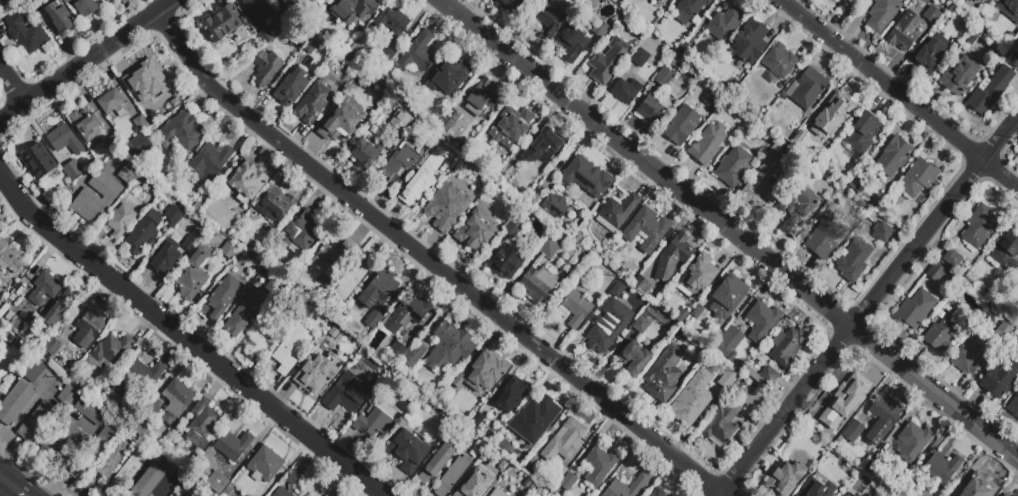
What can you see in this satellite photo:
building: (106, 0)
building: (844, 0)
building: (660, 1)
building: (846, 1)
building: (967, 1)
building: (980, 1)
building: (335, 2)
building: (618, 2)
building: (31, 3)
building: (289, 3)
building: (21, 5)
building: (84, 6)
building: (513, 6)
building: (593, 6)
building: (327, 8)
building: (260, 9)
building: (689, 9)
building: (952, 9)
building: (1009, 9)
building: (354, 10)
building: (882, 14)
building: (977, 18)
building: (58, 19)
building: (550, 20)
building: (392, 21)
building: (222, 23)
building: (724, 23)
building: (948, 26)
building: (911, 27)
building: (601, 29)
building: (26, 33)
building: (307, 35)
building: (974, 35)
building: (267, 37)
building: (325, 40)
building: (299, 41)
building: (573, 41)
building: (751, 41)
building: (346, 45)
building: (311, 46)
building: (686, 52)
building: (931, 54)
building: (418, 55)
building: (387, 56)
building: (640, 58)
building: (1014, 60)
road: (87, 61)
building: (608, 61)
building: (778, 63)
building: (306, 66)
building: (266, 68)
building: (134, 71)
building: (740, 71)
building: (354, 72)
building: (959, 75)
building: (448, 77)
building: (664, 77)
road: (12, 86)
building: (291, 88)
building: (806, 90)
building: (990, 90)
building: (626, 91)
road: (898, 93)
building: (132, 94)
building: (161, 98)
building: (137, 99)
building: (482, 99)
building: (111, 101)
building: (313, 102)
building: (653, 110)
building: (122, 113)
building: (832, 116)
building: (403, 120)
building: (452, 120)
building: (141, 123)
building: (86, 124)
building: (340, 124)
building: (681, 125)
building: (509, 130)
building: (182, 132)
building: (864, 132)
building: (420, 134)
building: (64, 140)
building: (113, 143)
building: (708, 144)
building: (784, 145)
building: (137, 147)
building: (542, 148)
building: (365, 150)
building: (893, 157)
building: (40, 161)
building: (210, 162)
building: (399, 165)
building: (733, 167)
building: (73, 169)
building: (510, 172)
building: (128, 174)
building: (587, 177)
building: (918, 177)
building: (246, 181)
building: (421, 182)
building: (762, 185)
building: (857, 185)
building: (52, 186)
building: (501, 194)
building: (96, 197)
building: (535, 201)
building: (151, 204)
building: (209, 206)
building: (276, 206)
building: (555, 206)
building: (446, 207)
building: (798, 207)
building: (197, 209)
building: (616, 212)
building: (175, 214)
building: (593, 214)
building: (122, 219)
building: (577, 224)
building: (979, 226)
building: (512, 228)
building: (646, 229)
road: (728, 229)
building: (882, 232)
building: (144, 233)
building: (474, 233)
building: (300, 234)
building: (584, 234)
building: (176, 237)
building: (825, 238)
building: (190, 243)
building: (253, 246)
building: (549, 247)
building: (229, 249)
building: (1006, 252)
building: (10, 256)
building: (673, 256)
building: (333, 258)
building: (164, 259)
building: (952, 259)
building: (505, 261)
building: (854, 261)
road: (431, 263)
building: (228, 269)
building: (937, 273)
building: (963, 273)
building: (701, 274)
building: (192, 275)
building: (1017, 277)
building: (353, 278)
building: (14, 284)
building: (539, 285)
building: (642, 286)
building: (45, 288)
building: (272, 288)
building: (379, 290)
building: (4, 294)
building: (611, 294)
building: (691, 294)
building: (249, 295)
building: (224, 297)
building: (727, 299)
building: (0, 304)
building: (19, 306)
road: (869, 306)
building: (915, 308)
building: (31, 309)
building: (577, 310)
building: (56, 312)
building: (12, 314)
building: (405, 315)
building: (697, 315)
building: (374, 319)
building: (238, 320)
building: (14, 321)
building: (762, 321)
building: (609, 325)
building: (640, 325)
building: (88, 328)
building: (943, 332)
building: (266, 336)
road: (188, 338)
building: (683, 338)
building: (728, 342)
building: (337, 345)
building: (788, 345)
building: (321, 347)
building: (450, 347)
building: (51, 349)
building: (291, 349)
building: (342, 349)
building: (397, 350)
building: (109, 352)
building: (972, 355)
building: (413, 356)
building: (8, 358)
building: (633, 359)
building: (731, 360)
building: (341, 362)
building: (305, 370)
building: (34, 371)
building: (483, 373)
building: (384, 375)
building: (663, 375)
building: (764, 376)
building: (1001, 377)
building: (141, 378)
building: (420, 378)
building: (728, 379)
building: (321, 382)
building: (846, 392)
building: (347, 393)
building: (67, 395)
building: (511, 395)
building: (691, 398)
building: (15, 402)
building: (177, 402)
building: (154, 407)
building: (1013, 407)
building: (90, 410)
building: (466, 416)
building: (143, 418)
building: (882, 418)
building: (534, 419)
building: (397, 421)
building: (452, 421)
building: (37, 422)
building: (371, 422)
building: (201, 423)
building: (477, 425)
building: (722, 425)
building: (820, 425)
building: (854, 431)
building: (839, 439)
building: (564, 441)
building: (913, 441)
building: (809, 444)
building: (64, 445)
building: (232, 446)
building: (100, 448)
building: (407, 451)
building: (474, 452)
building: (833, 454)
building: (862, 454)
building: (113, 459)
building: (436, 463)
building: (265, 465)
building: (600, 466)
building: (942, 467)
road: (34, 468)
building: (129, 471)
building: (78, 474)
building: (453, 475)
building: (293, 478)
building: (784, 478)
building: (567, 481)
building: (148, 482)
building: (218, 483)
building: (93, 484)
building: (472, 485)
building: (638, 485)
road: (12, 486)
building: (162, 486)
building: (186, 487)
building: (535, 487)
building: (975, 487)
road: (167, 488)
building: (844, 489)
building: (551, 490)
building: (282, 492)
building: (658, 492)
building: (497, 493)
building: (539, 493)
building: (807, 493)
building: (108, 494)
building: (923, 494)
building: (187, 495)
building: (190, 495)
building: (246, 495)
building: (489, 495)
building: (847, 495)
building: (1004, 495)
building: (1006, 495)

